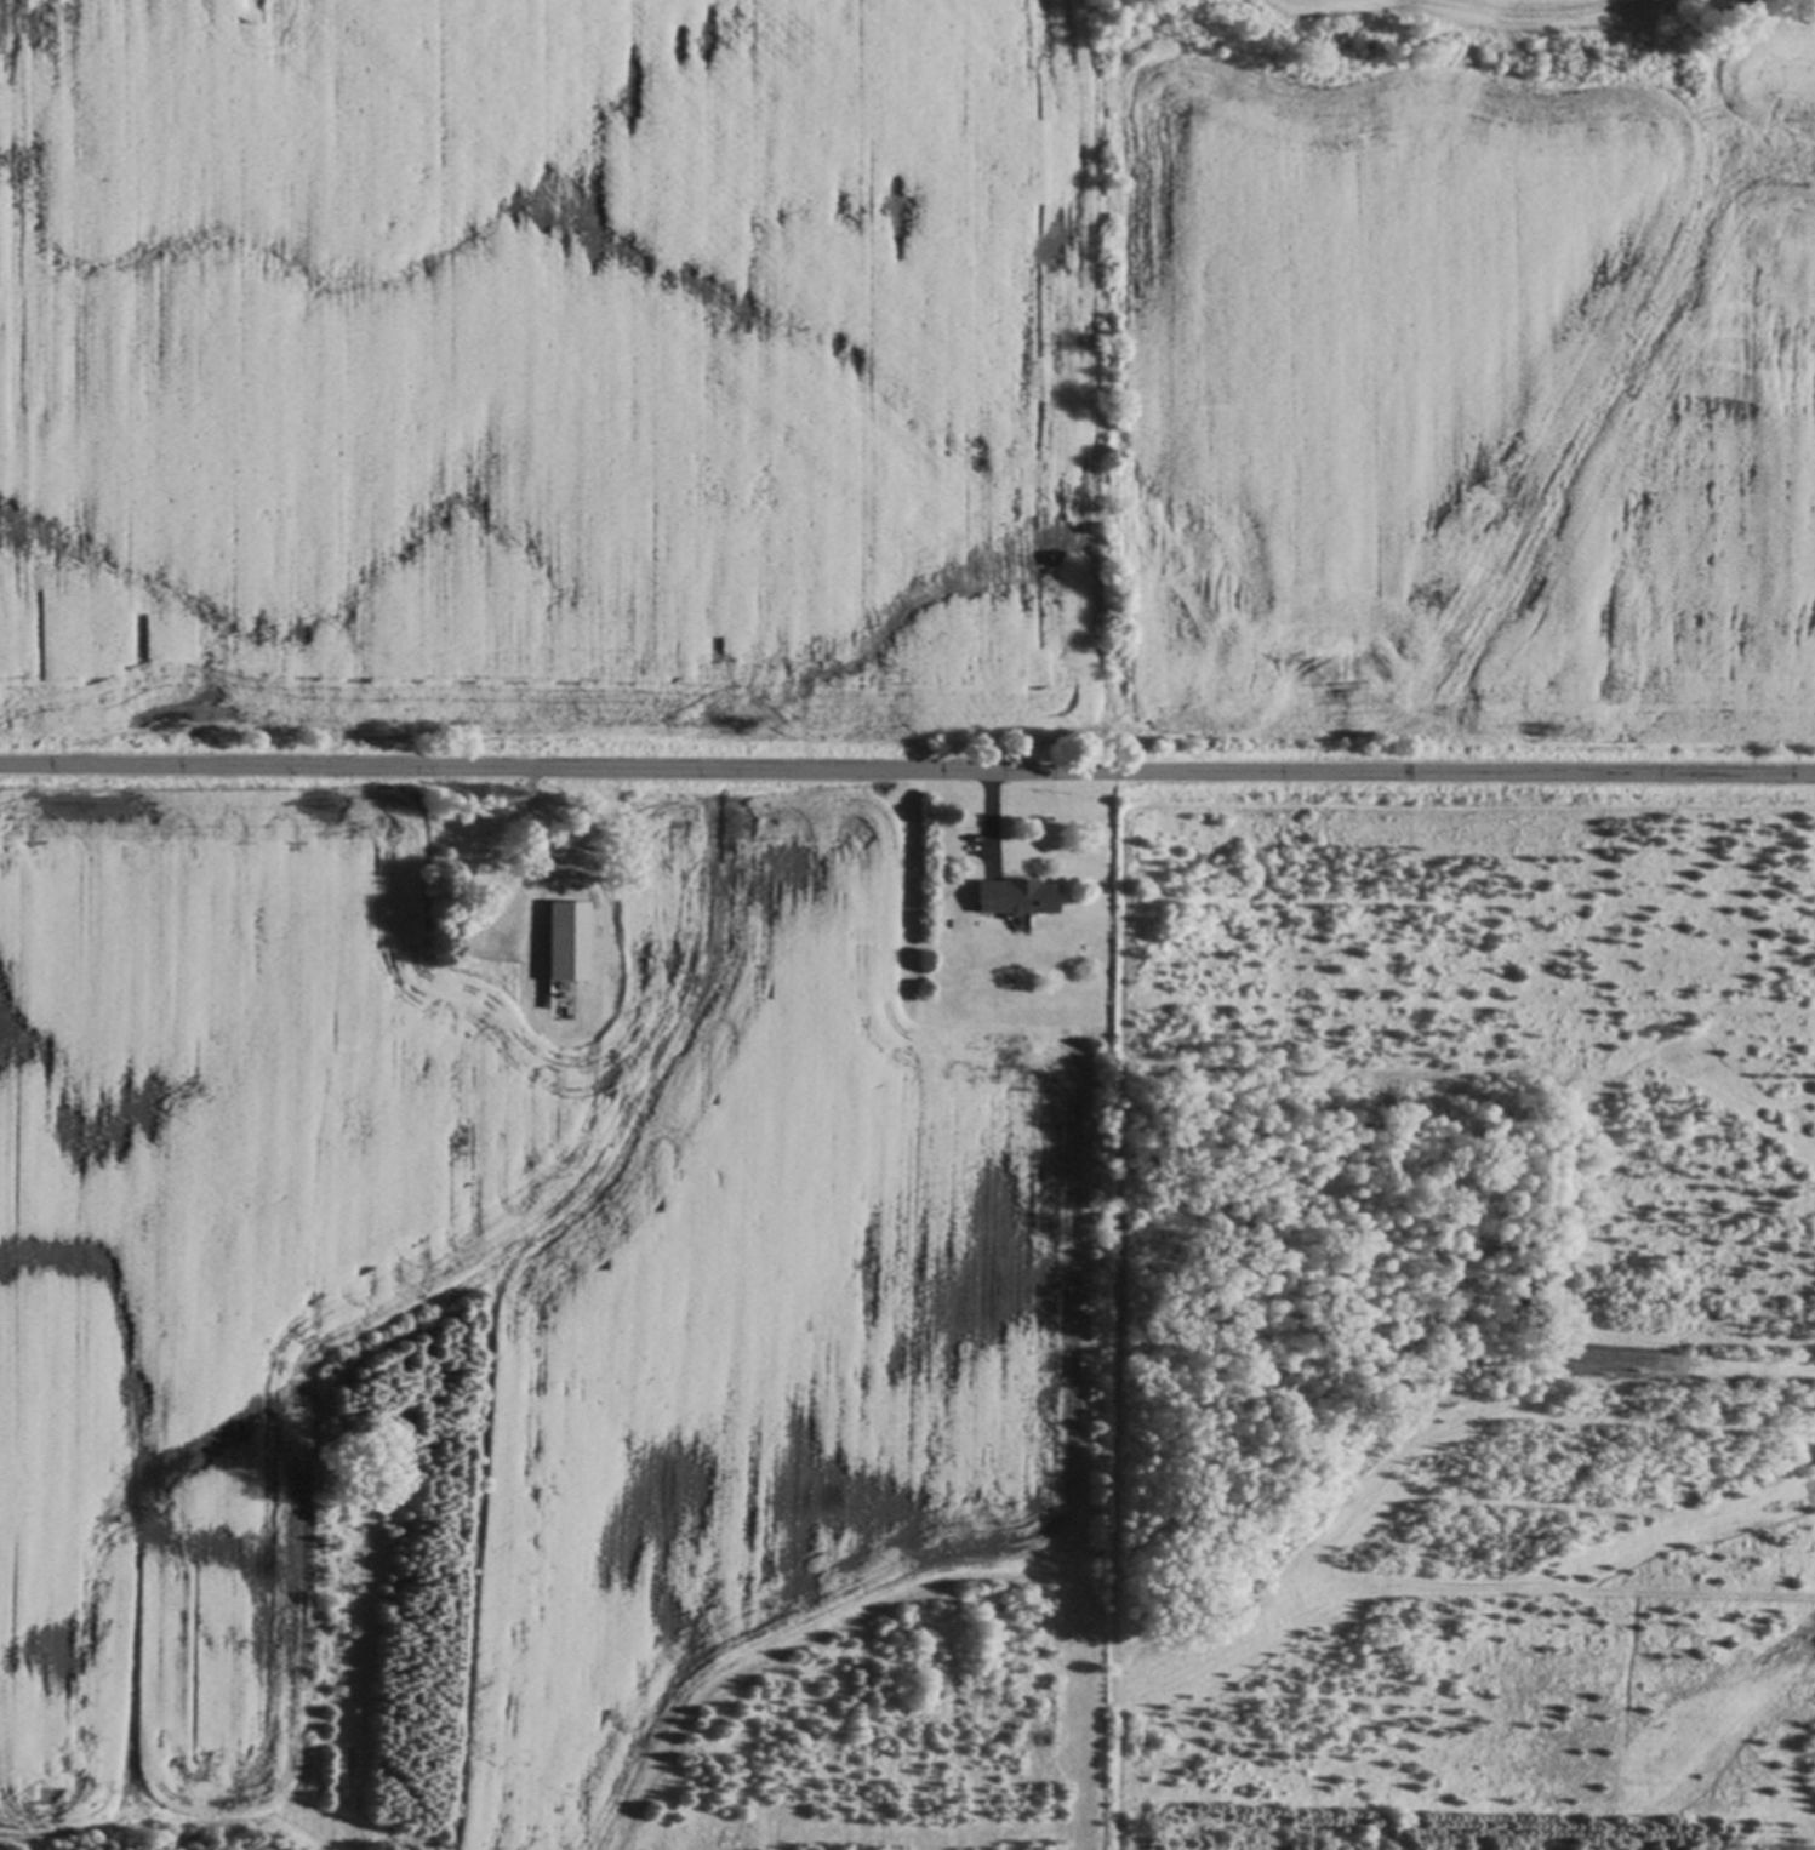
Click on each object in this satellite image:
road: (907, 769)
building: (520, 893)
building: (1014, 893)
building: (567, 941)

